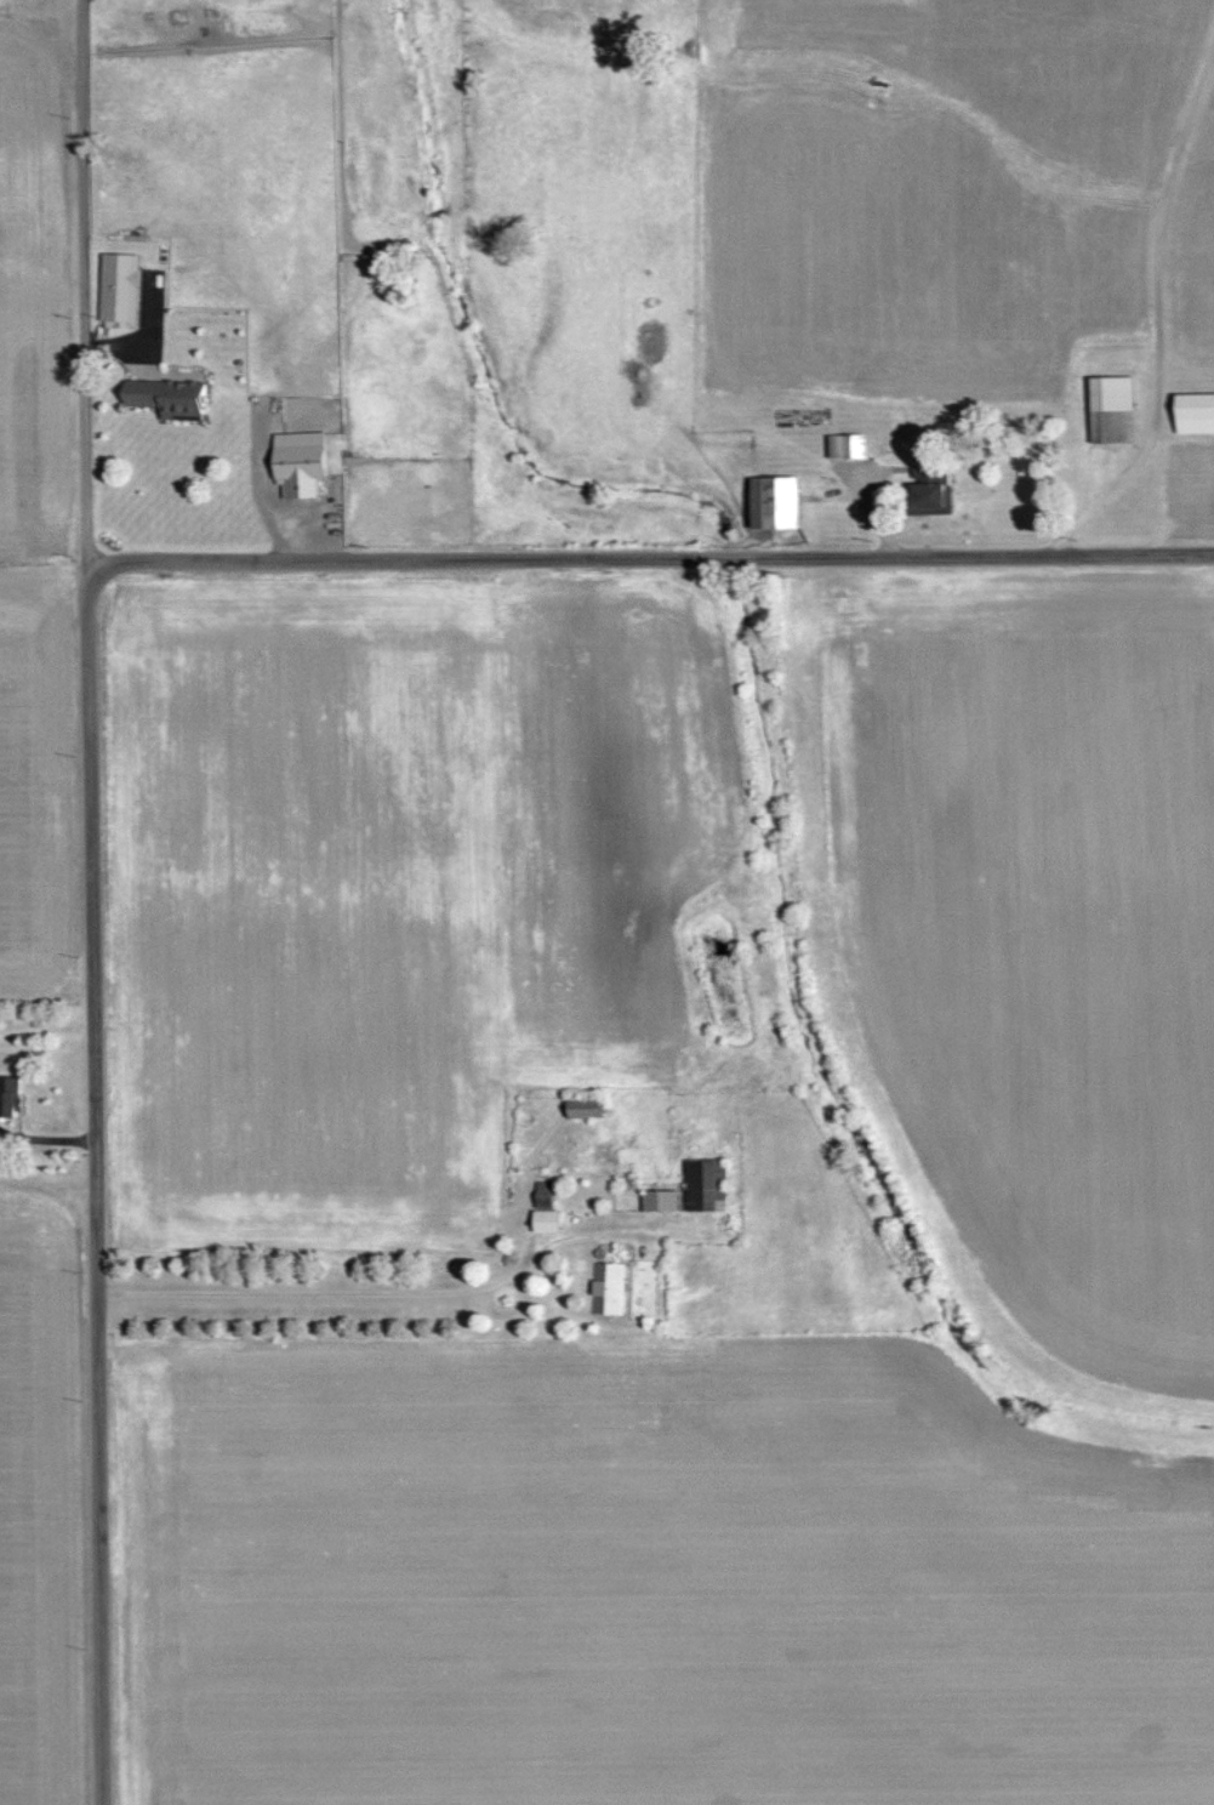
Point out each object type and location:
building: (116, 290)
road: (85, 292)
building: (164, 397)
building: (1107, 409)
building: (1193, 412)
building: (844, 445)
building: (295, 462)
building: (923, 492)
building: (770, 502)
road: (645, 558)
building: (7, 1095)
building: (580, 1109)
building: (702, 1185)
building: (541, 1189)
road: (96, 1195)
building: (657, 1200)
building: (542, 1220)
building: (605, 1288)

